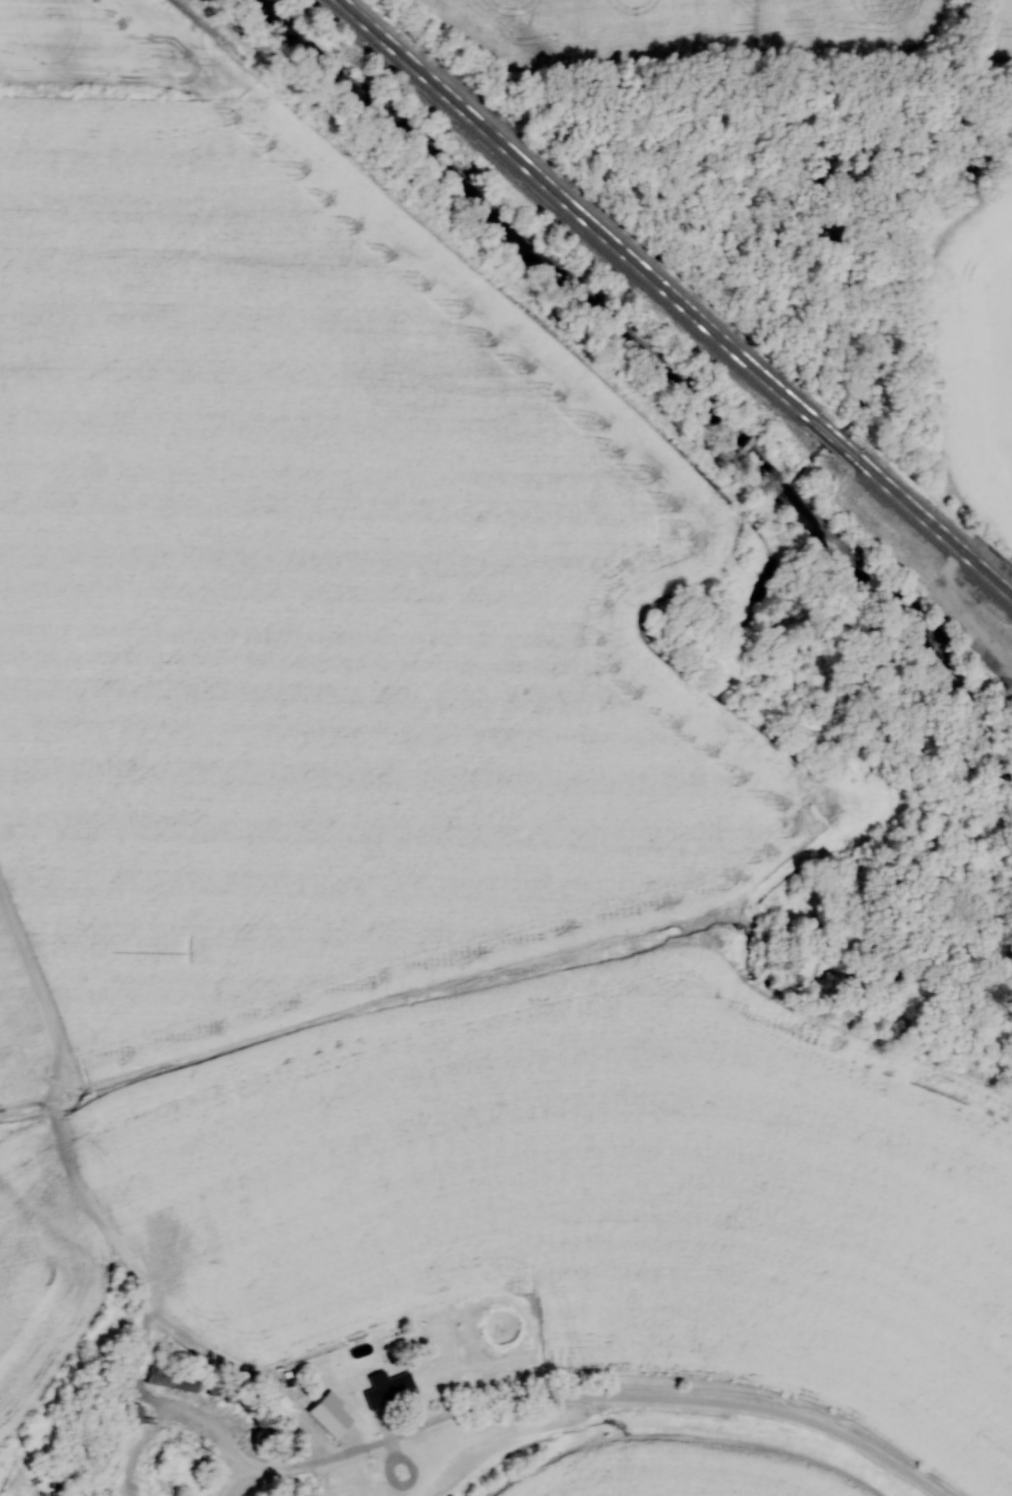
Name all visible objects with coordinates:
railway: (581, 207)
railway: (568, 212)
railway: (838, 434)
railway: (834, 444)
railway: (936, 521)
railway: (934, 535)
building: (140, 1387)
building: (390, 1388)
road: (671, 1404)
building: (135, 1414)

